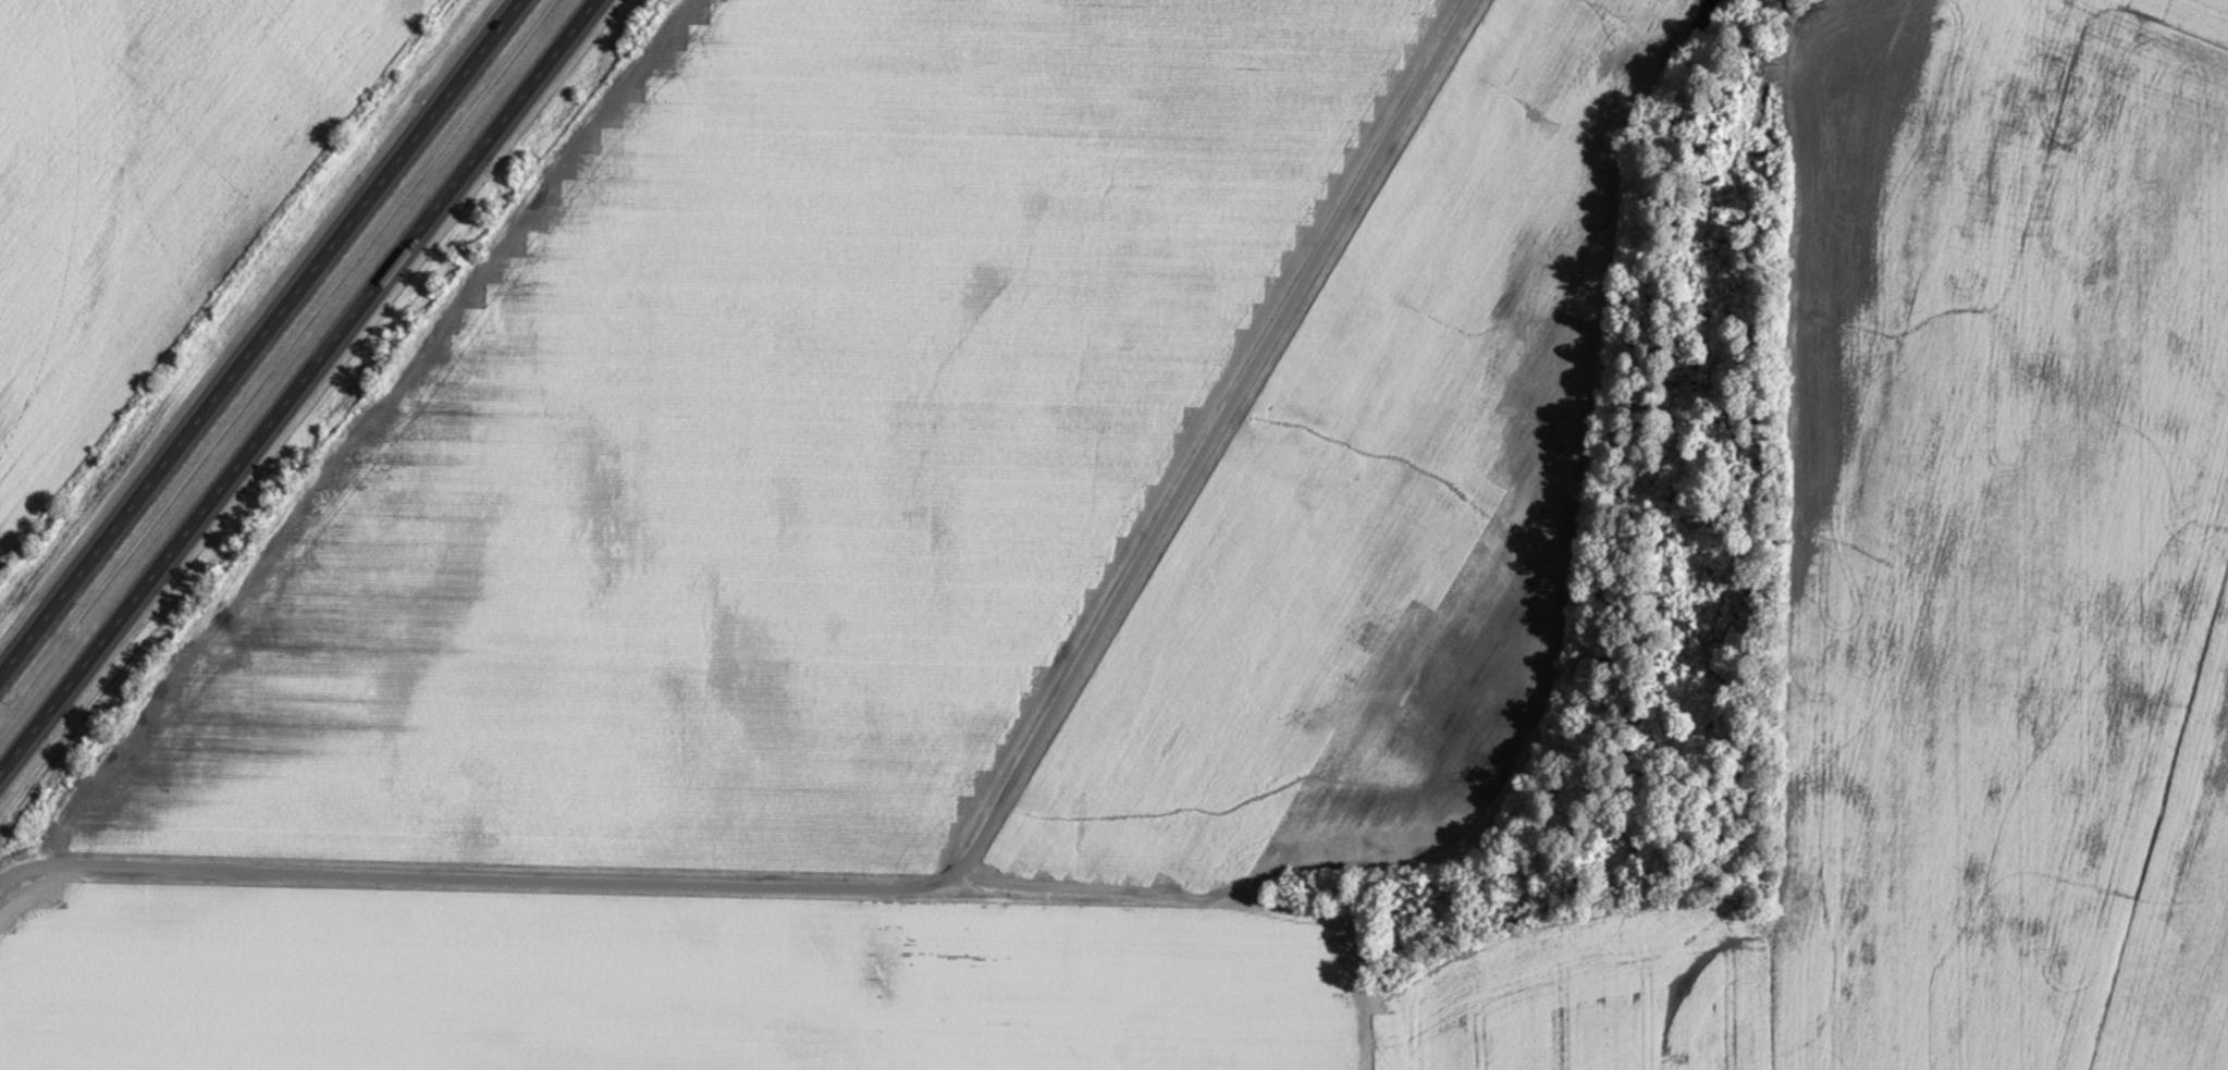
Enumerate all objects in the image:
road: (259, 336)
road: (298, 388)
road: (969, 851)

